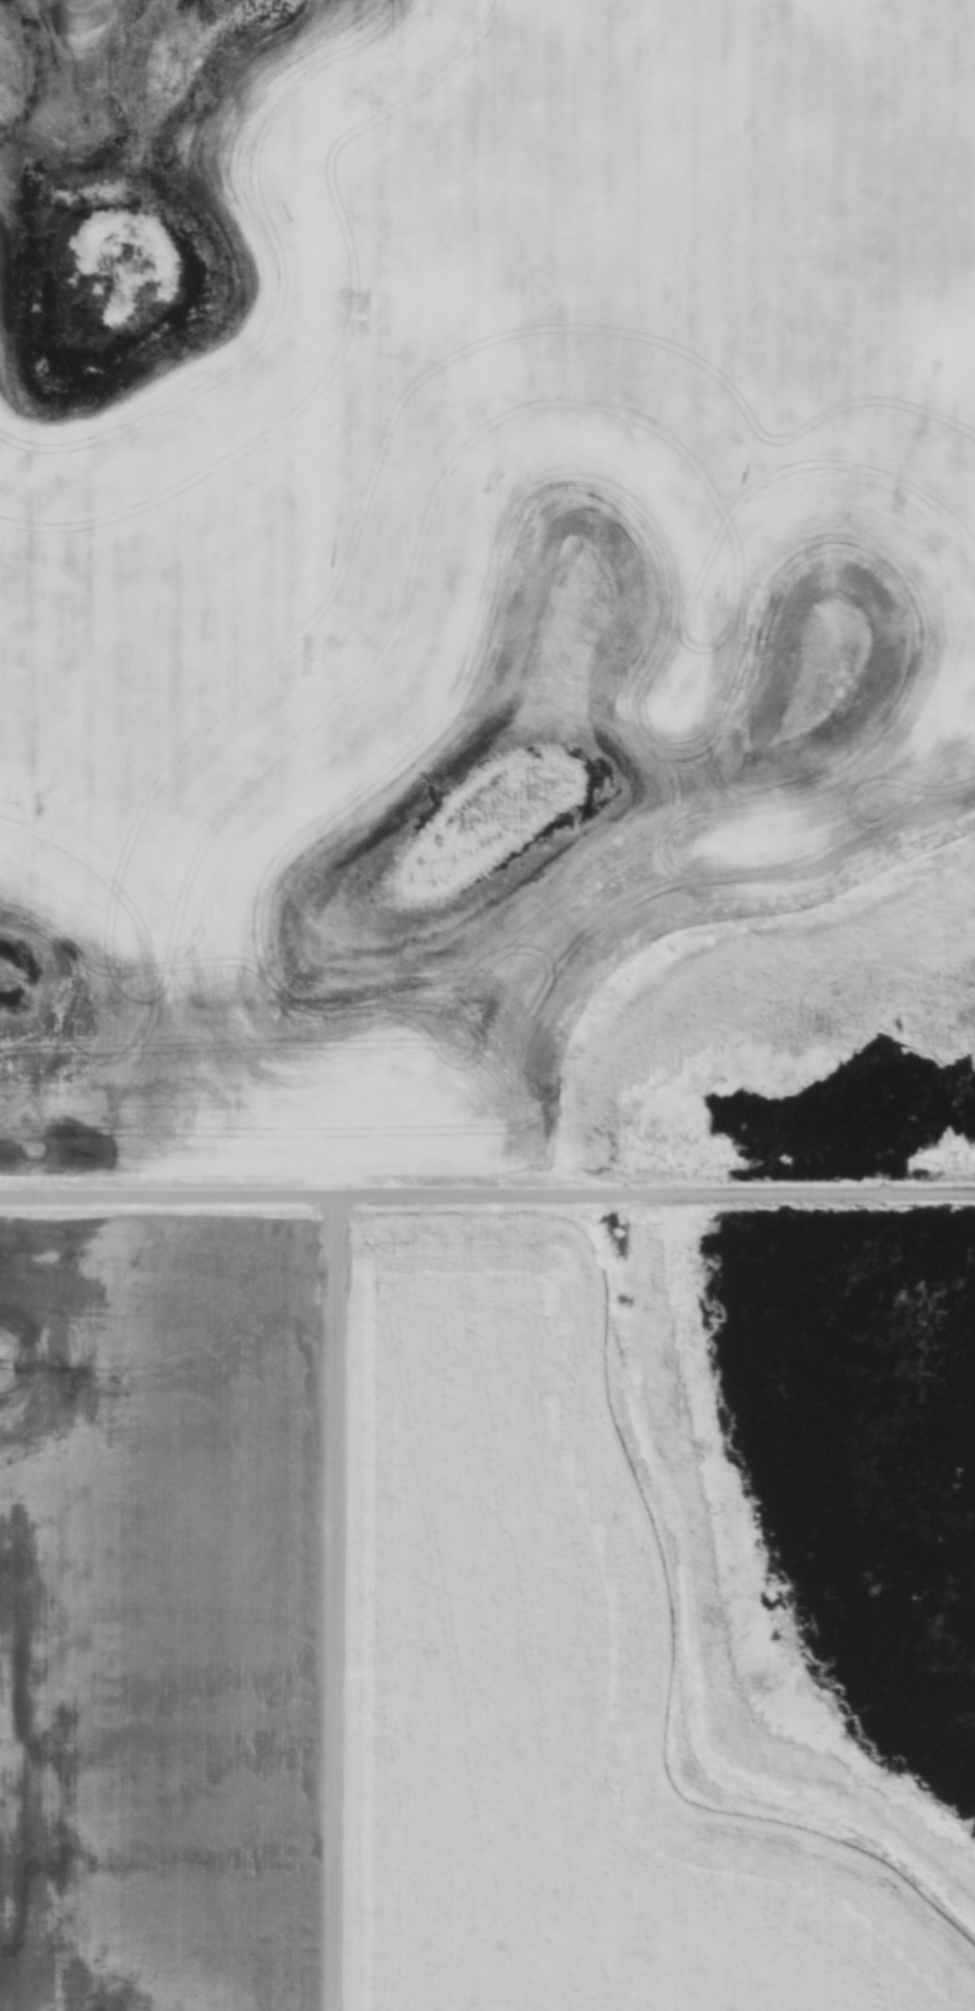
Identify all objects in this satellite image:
road: (487, 1199)

